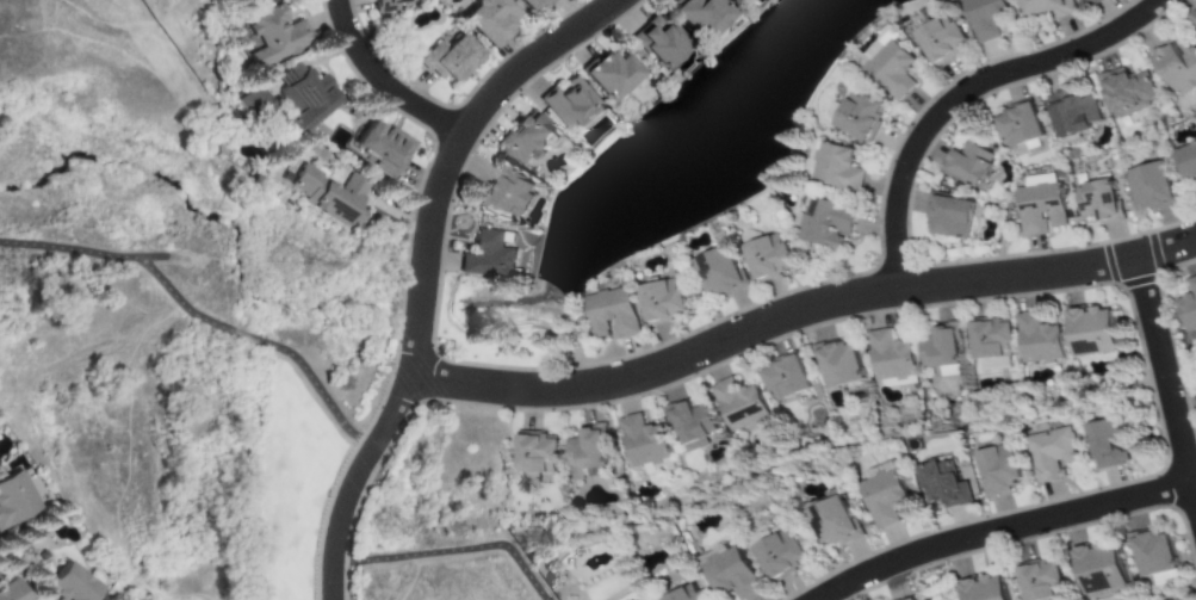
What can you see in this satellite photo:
building: (735, 0)
building: (1086, 1)
building: (1095, 2)
building: (386, 5)
building: (531, 5)
building: (1046, 8)
building: (695, 17)
building: (984, 18)
building: (485, 20)
building: (1191, 20)
building: (273, 36)
building: (938, 39)
building: (655, 44)
building: (446, 60)
building: (890, 68)
building: (1176, 68)
building: (605, 75)
road: (386, 83)
road: (967, 91)
building: (1127, 93)
building: (300, 97)
building: (253, 103)
building: (565, 103)
building: (1072, 115)
building: (857, 117)
building: (1016, 125)
building: (523, 140)
building: (378, 146)
road: (457, 153)
building: (1186, 162)
building: (967, 165)
building: (835, 169)
building: (1147, 187)
building: (504, 193)
building: (327, 196)
building: (1096, 200)
building: (1037, 209)
building: (947, 217)
building: (825, 224)
building: (489, 253)
building: (766, 258)
power tower: (286, 268)
building: (718, 273)
building: (661, 301)
building: (1188, 308)
road: (803, 311)
building: (609, 315)
road: (203, 318)
building: (1092, 332)
building: (991, 338)
building: (1037, 339)
building: (940, 347)
building: (890, 355)
building: (838, 364)
building: (786, 378)
road: (1166, 383)
building: (738, 404)
building: (692, 425)
building: (1109, 444)
building: (645, 445)
building: (587, 449)
building: (1054, 453)
building: (535, 454)
building: (1000, 469)
park: (299, 483)
road: (358, 483)
building: (946, 483)
building: (887, 497)
building: (14, 500)
building: (836, 521)
power tower: (386, 530)
road: (996, 530)
road: (453, 553)
building: (782, 553)
building: (1152, 553)
building: (1098, 567)
building: (733, 574)
building: (1040, 580)
building: (64, 584)
building: (984, 588)
building: (6, 592)
building: (688, 594)
building: (637, 598)
building: (912, 599)

